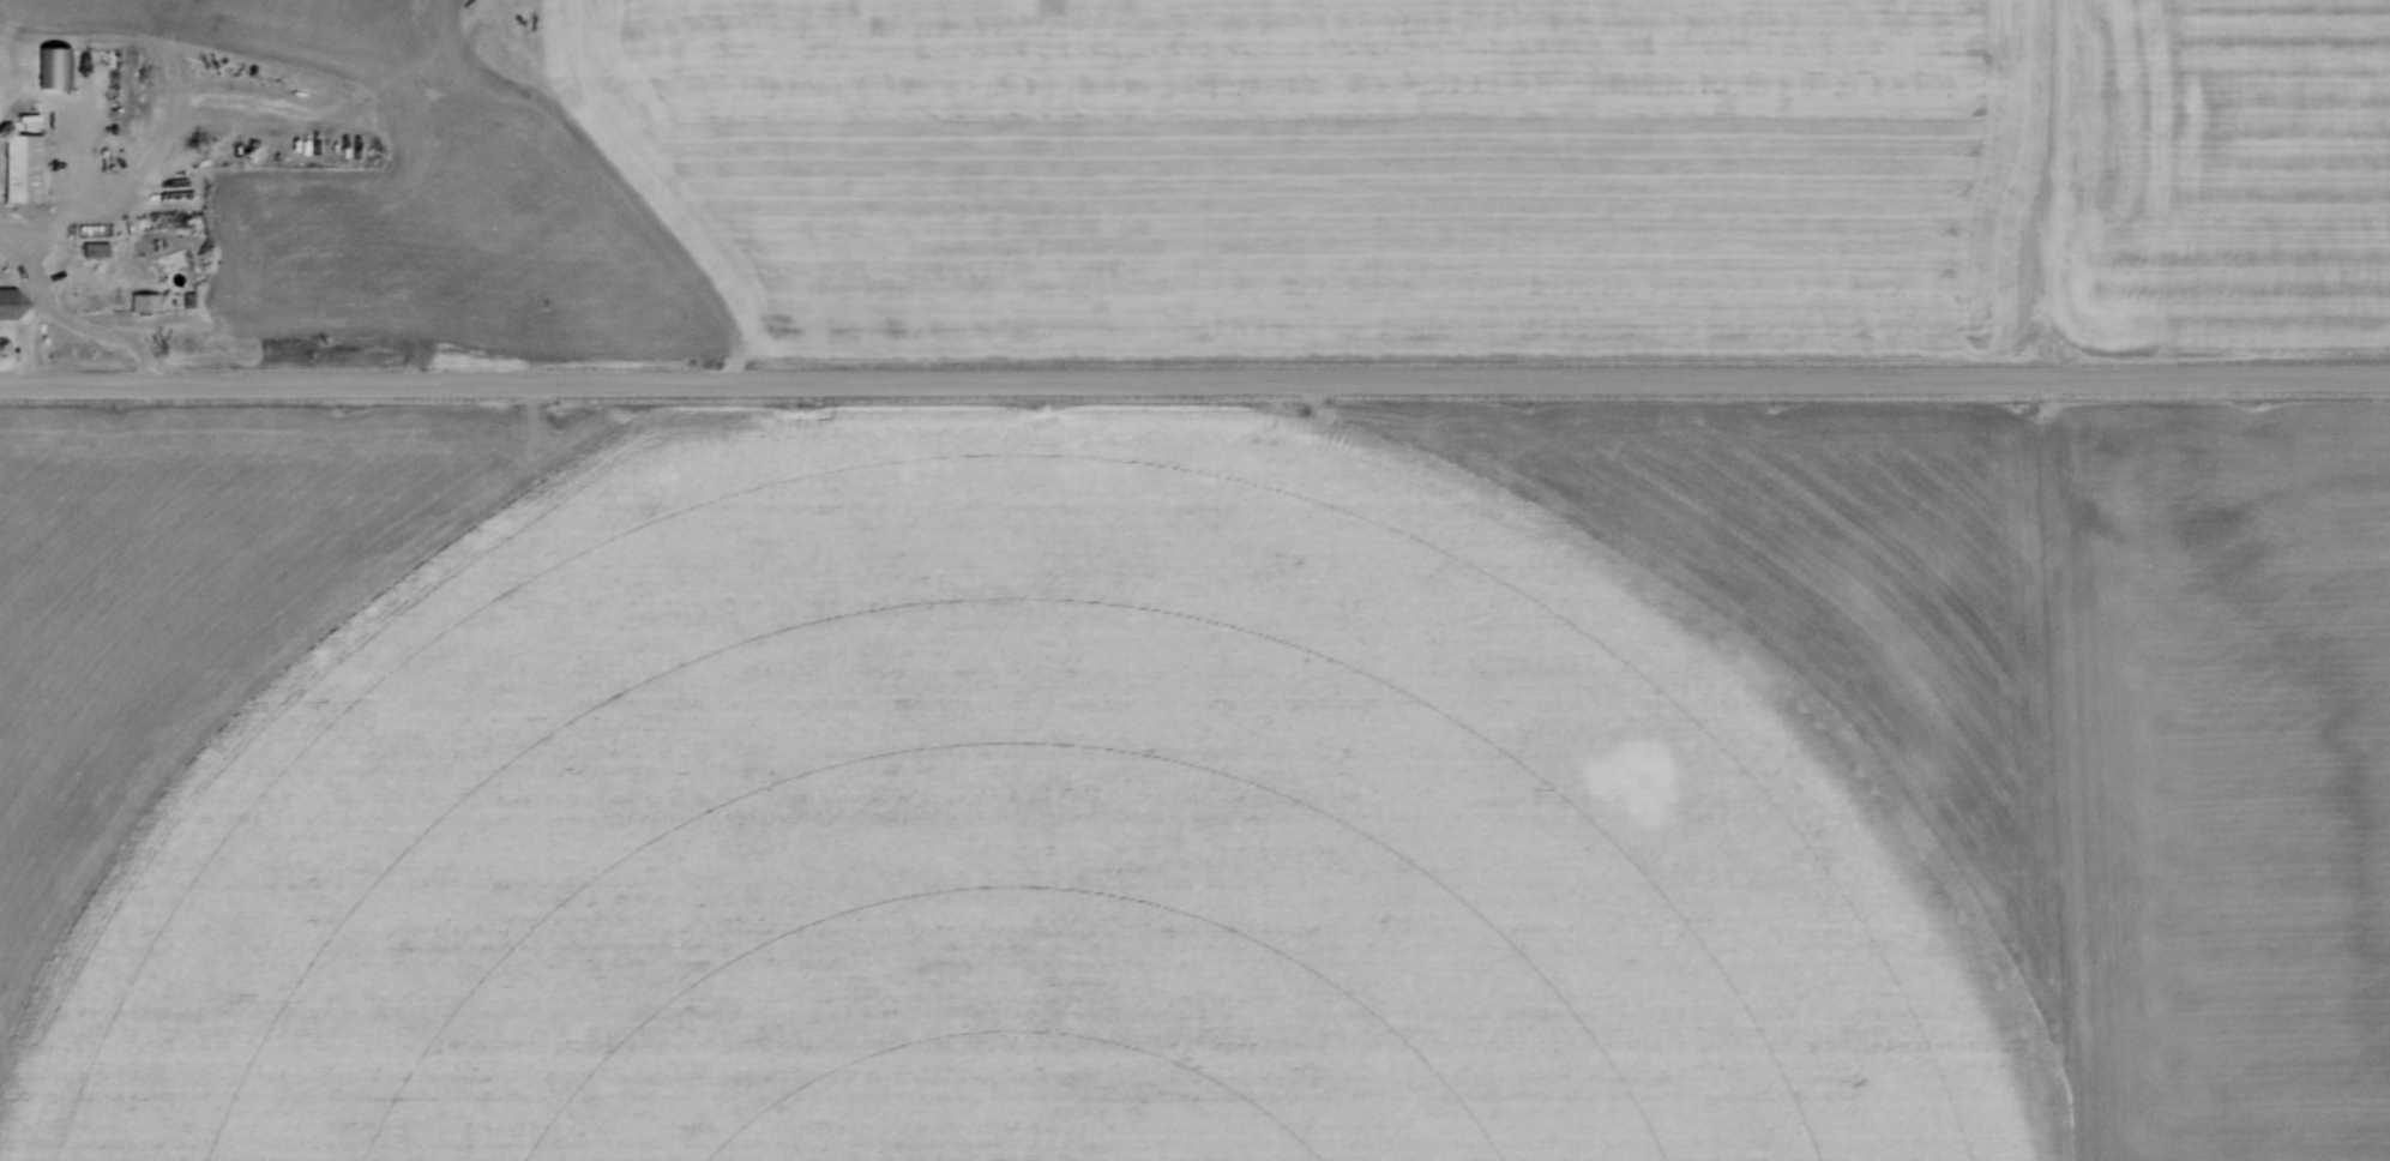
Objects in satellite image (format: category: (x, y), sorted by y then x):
crop: (270, 30)
building: (54, 67)
building: (25, 168)
crop: (1503, 176)
building: (96, 248)
building: (144, 301)
building: (12, 303)
road: (1194, 379)
crop: (1196, 782)

